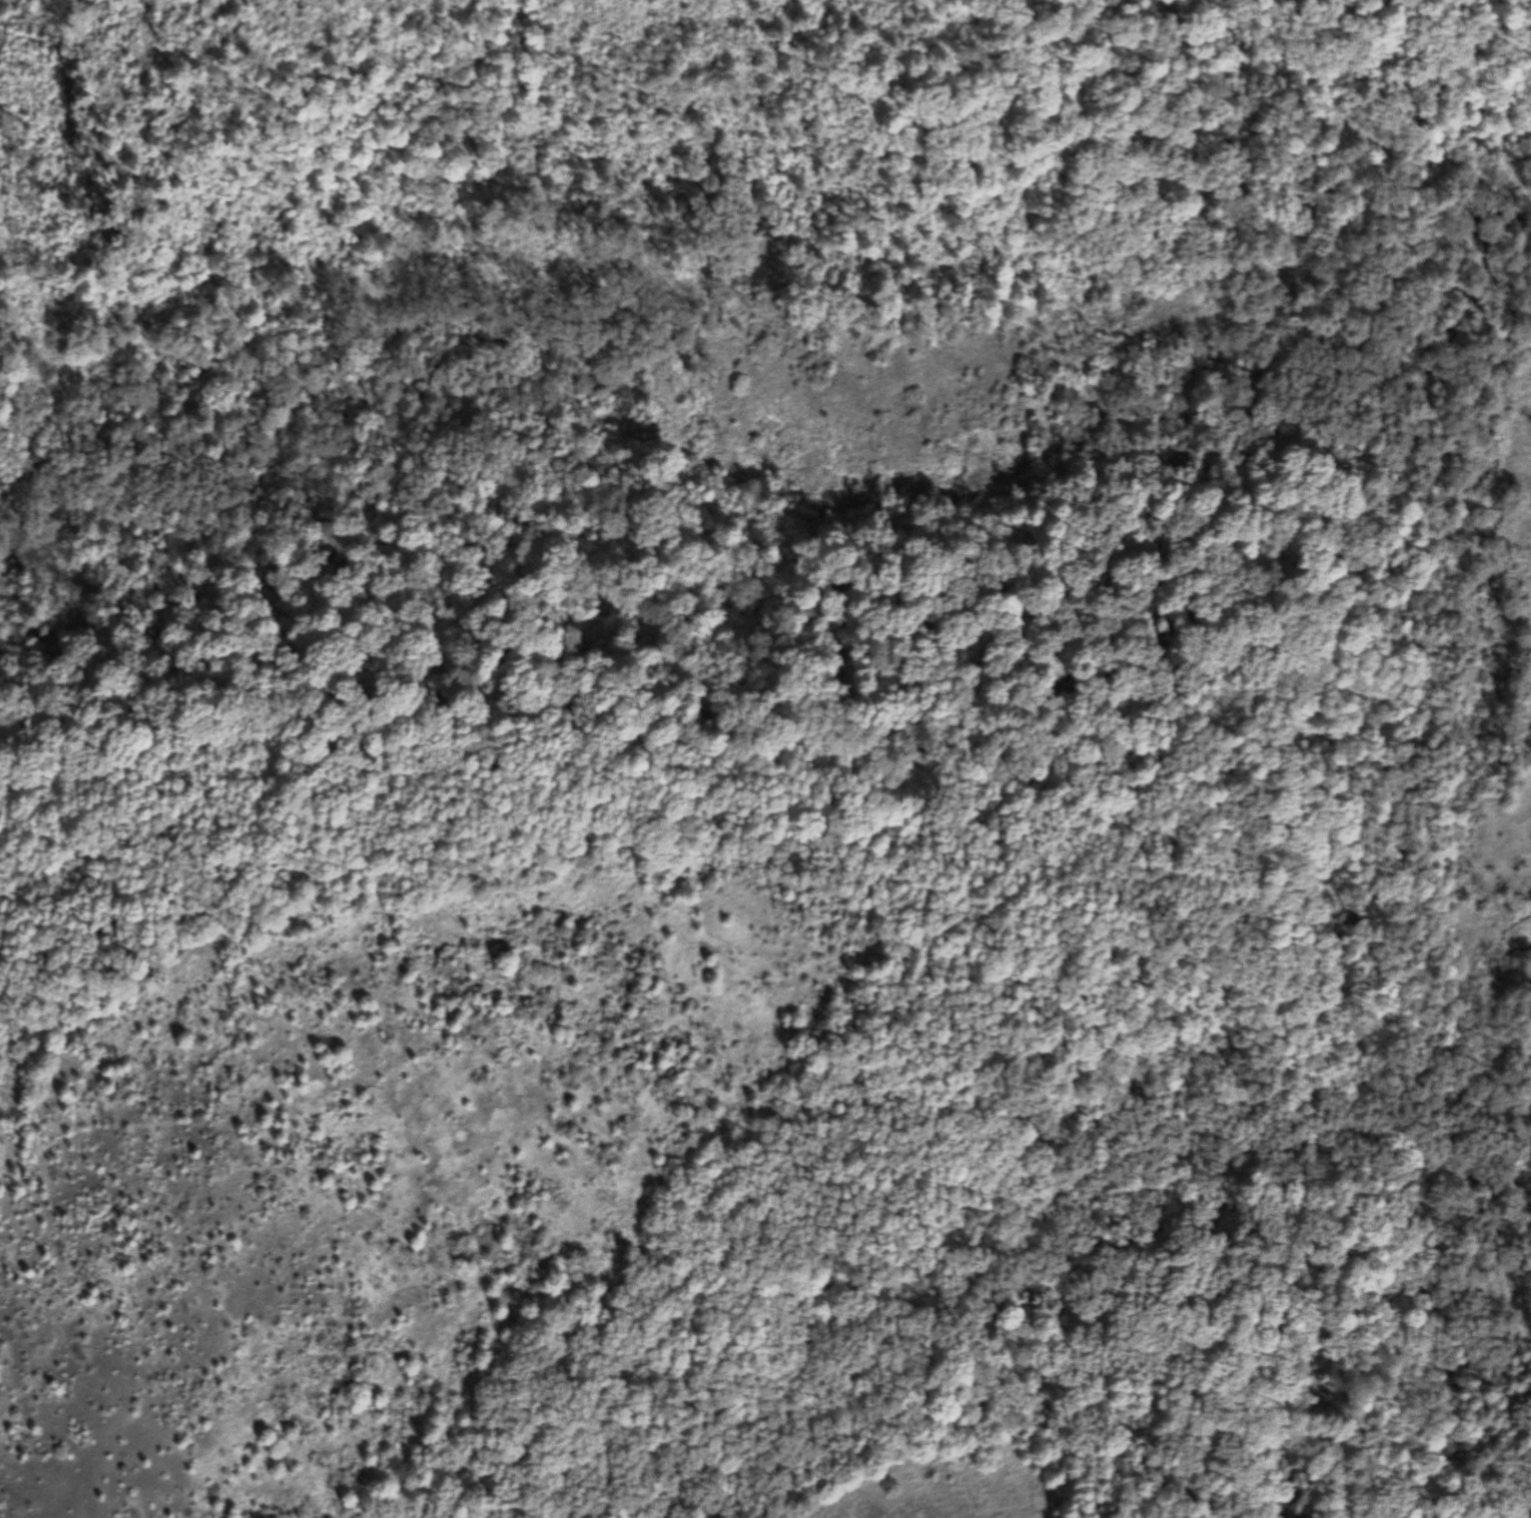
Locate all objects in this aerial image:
road: (1419, 27)

